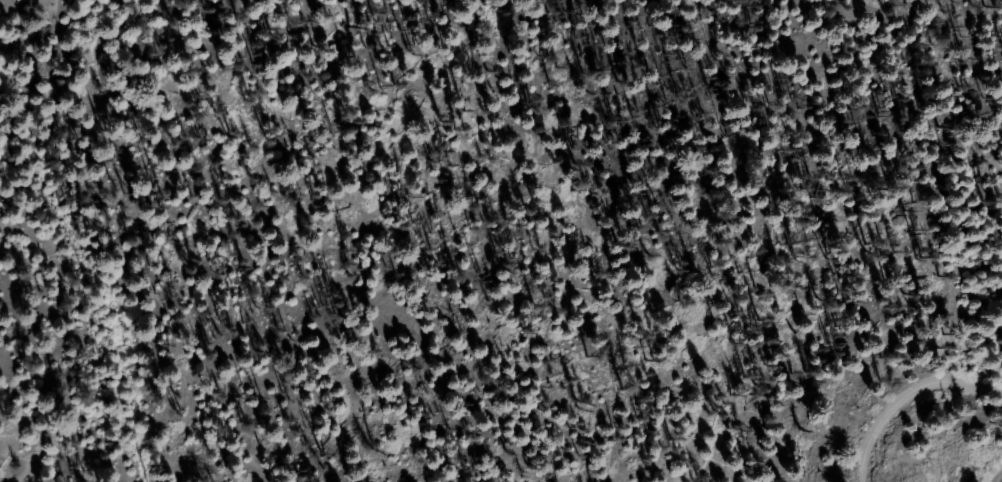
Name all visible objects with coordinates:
building: (761, 236)
road: (908, 397)

